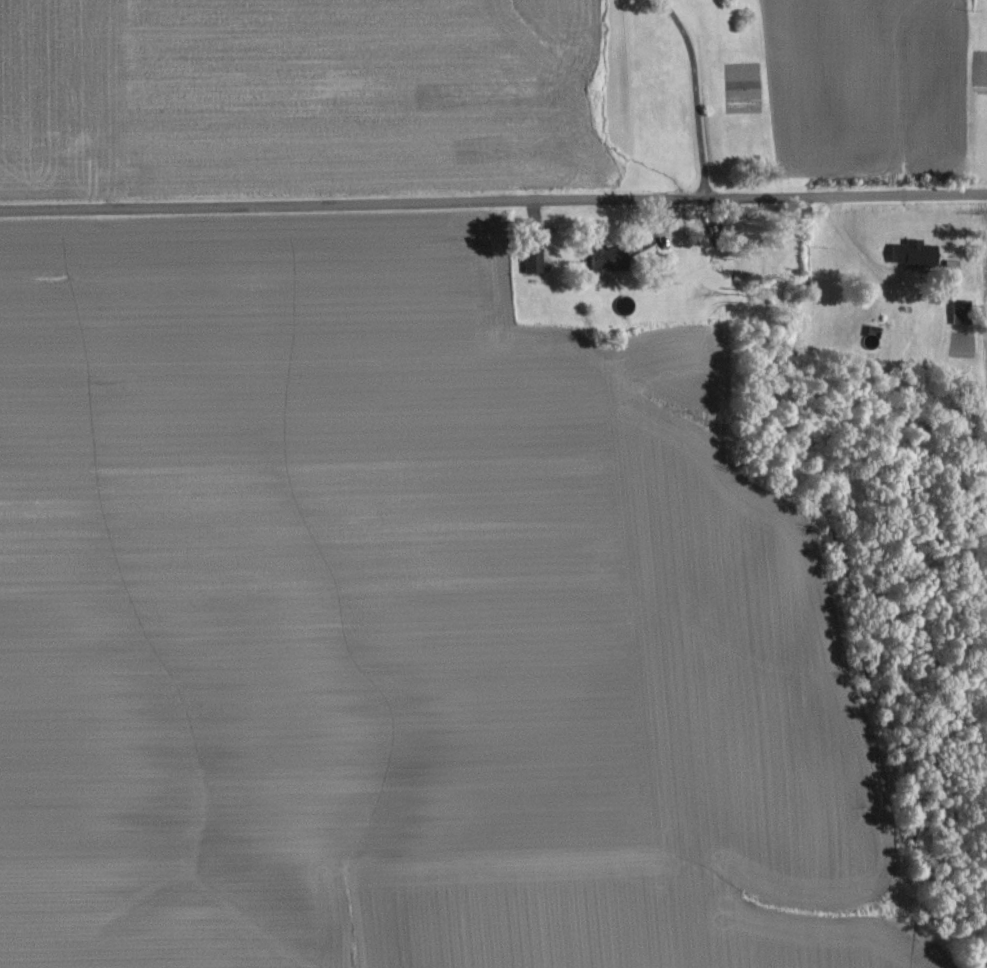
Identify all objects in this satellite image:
road: (694, 96)
road: (493, 203)
road: (853, 245)
building: (902, 255)
building: (527, 262)
building: (599, 262)
building: (946, 268)
building: (955, 314)

